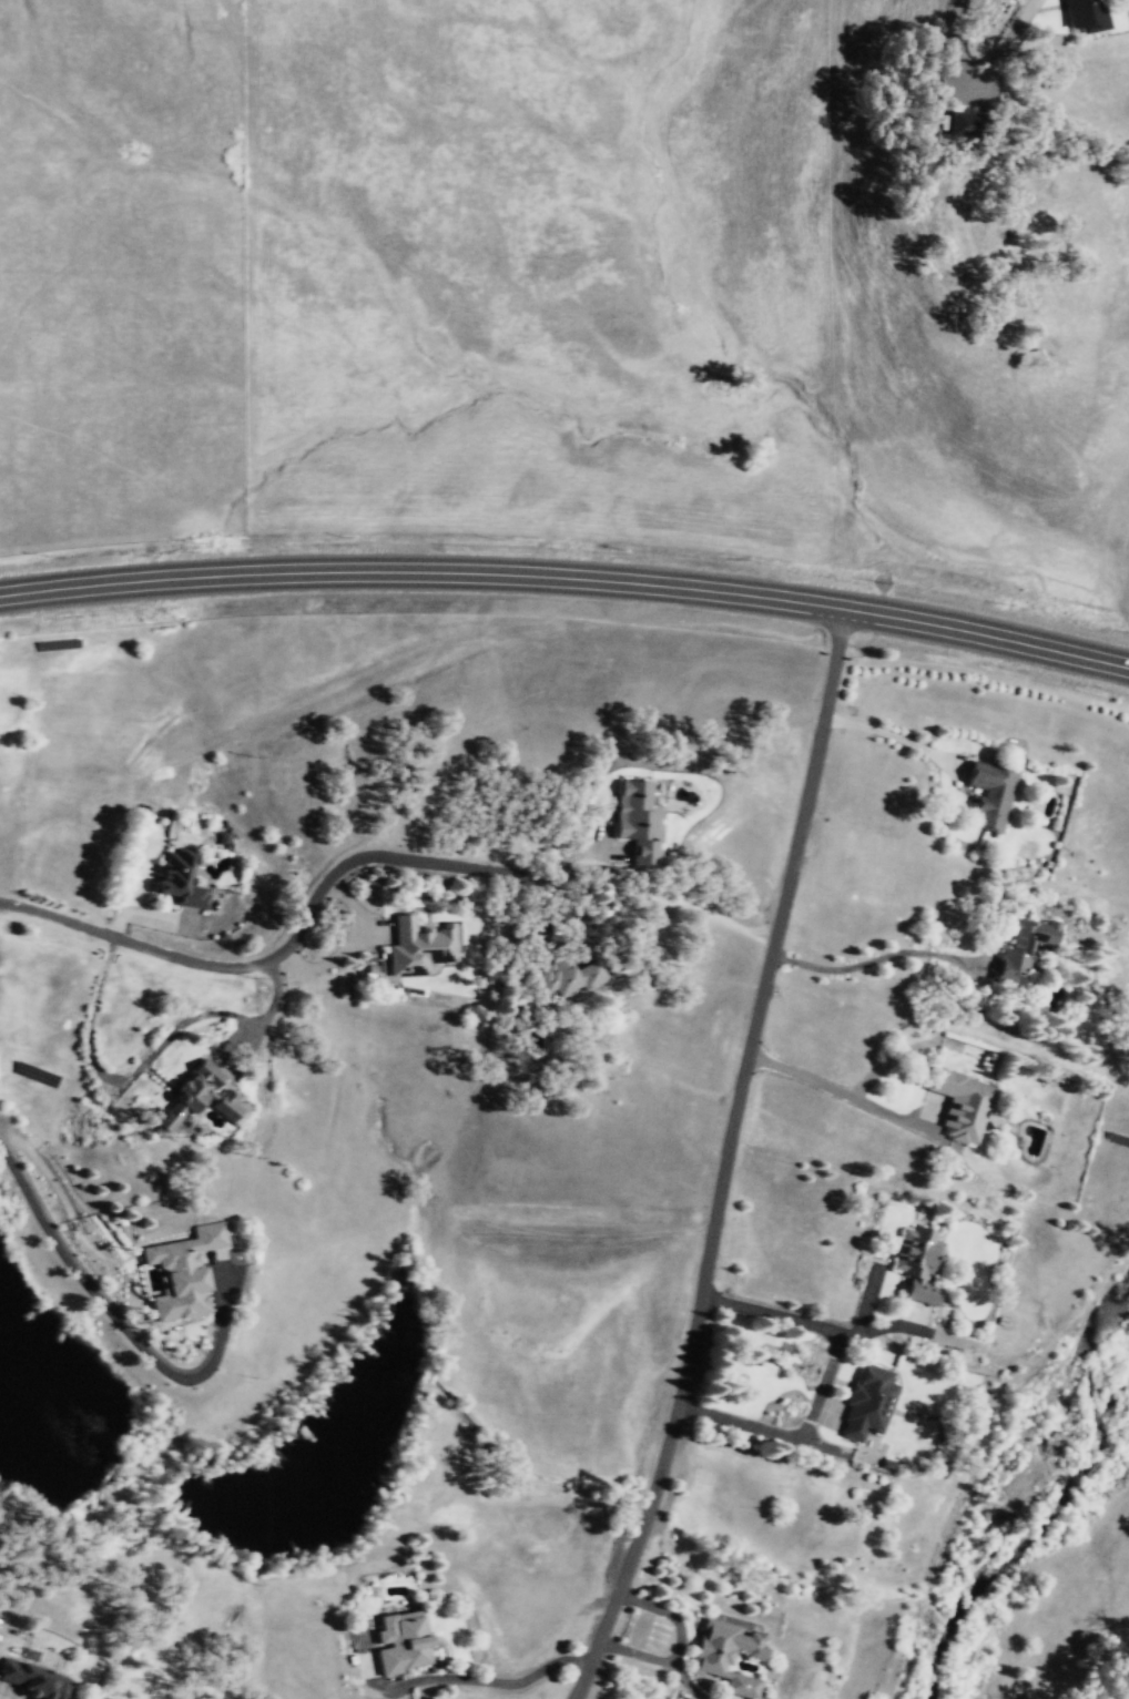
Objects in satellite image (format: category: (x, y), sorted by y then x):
building: (1089, 13)
road: (977, 83)
building: (973, 123)
road: (567, 580)
road: (897, 737)
building: (989, 794)
building: (638, 820)
road: (584, 851)
building: (177, 878)
road: (292, 938)
building: (1024, 942)
road: (350, 945)
building: (419, 945)
road: (884, 955)
building: (570, 977)
road: (264, 1013)
road: (88, 1020)
road: (886, 1060)
building: (194, 1096)
road: (846, 1096)
building: (960, 1102)
road: (734, 1159)
building: (917, 1261)
building: (179, 1271)
road: (865, 1296)
road: (909, 1325)
road: (121, 1327)
road: (824, 1378)
building: (867, 1401)
building: (399, 1639)
road: (675, 1645)
building: (726, 1654)
building: (34, 1678)
road: (495, 1681)
road: (686, 1683)
road: (2, 1691)

